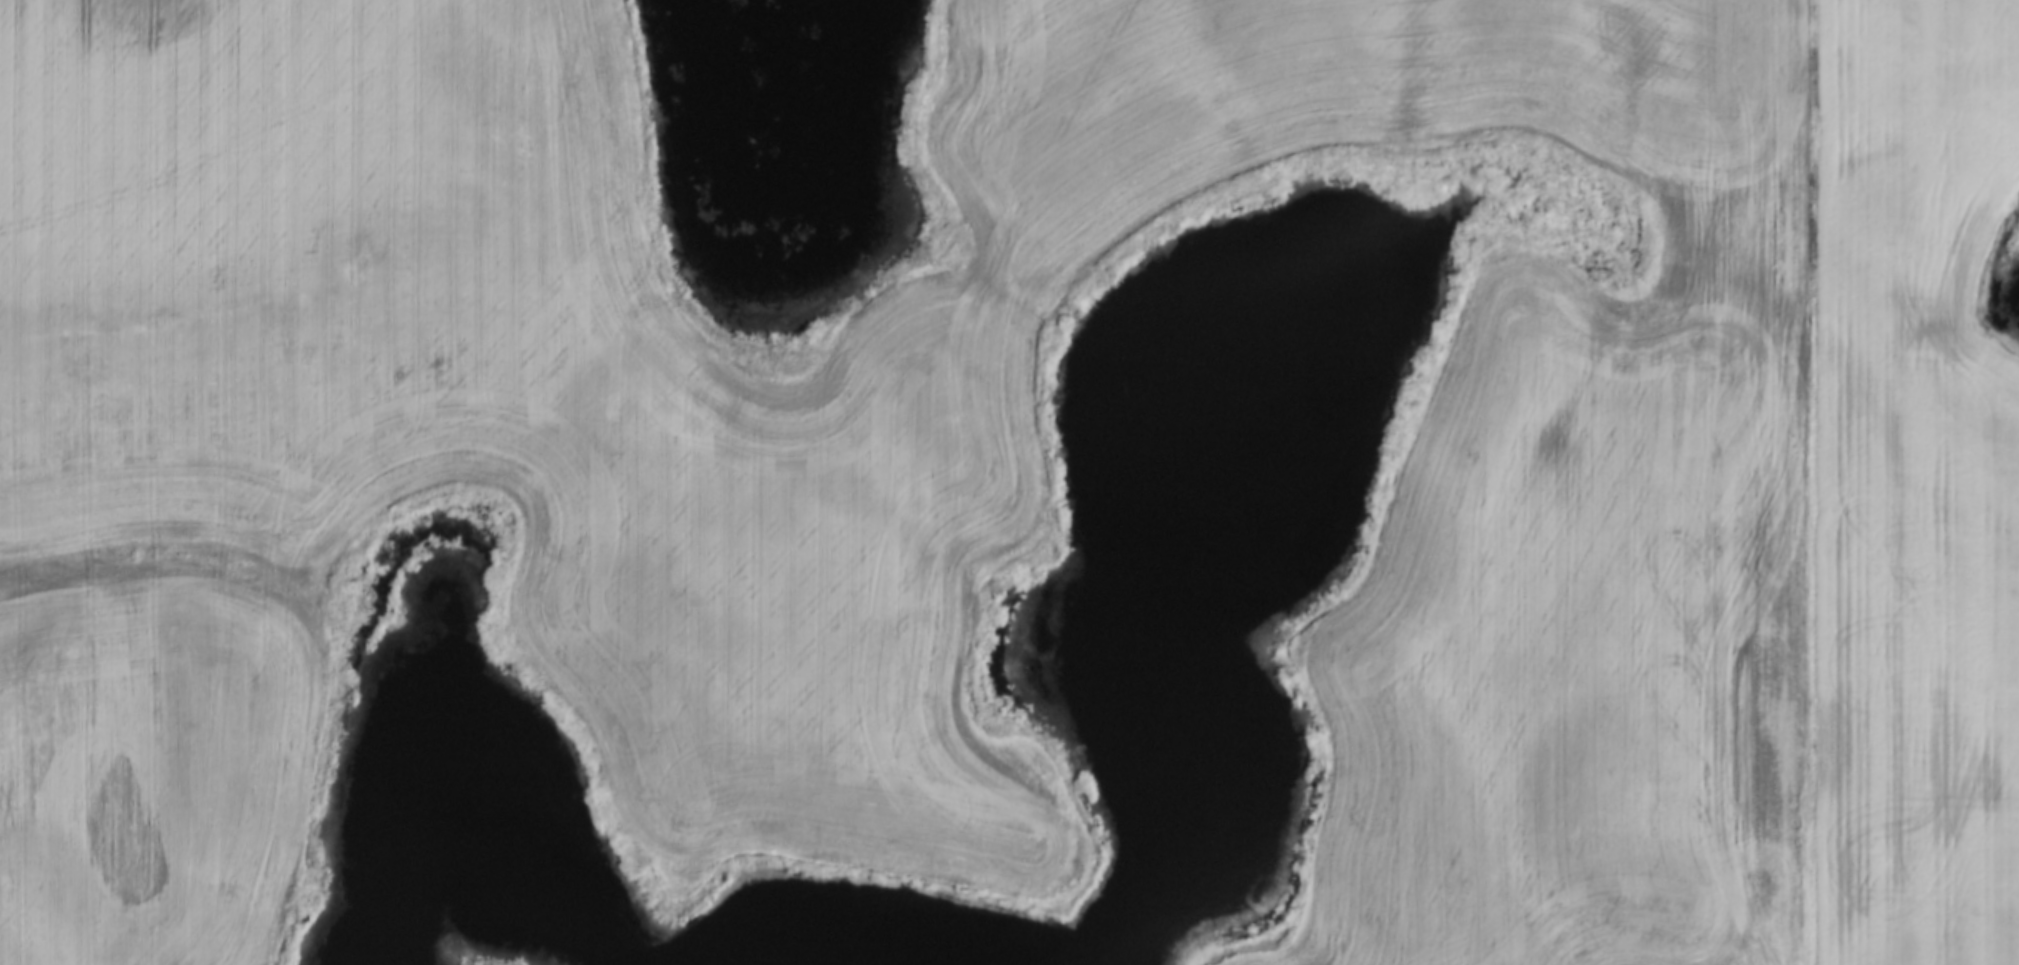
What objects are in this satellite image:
road: (1825, 482)

